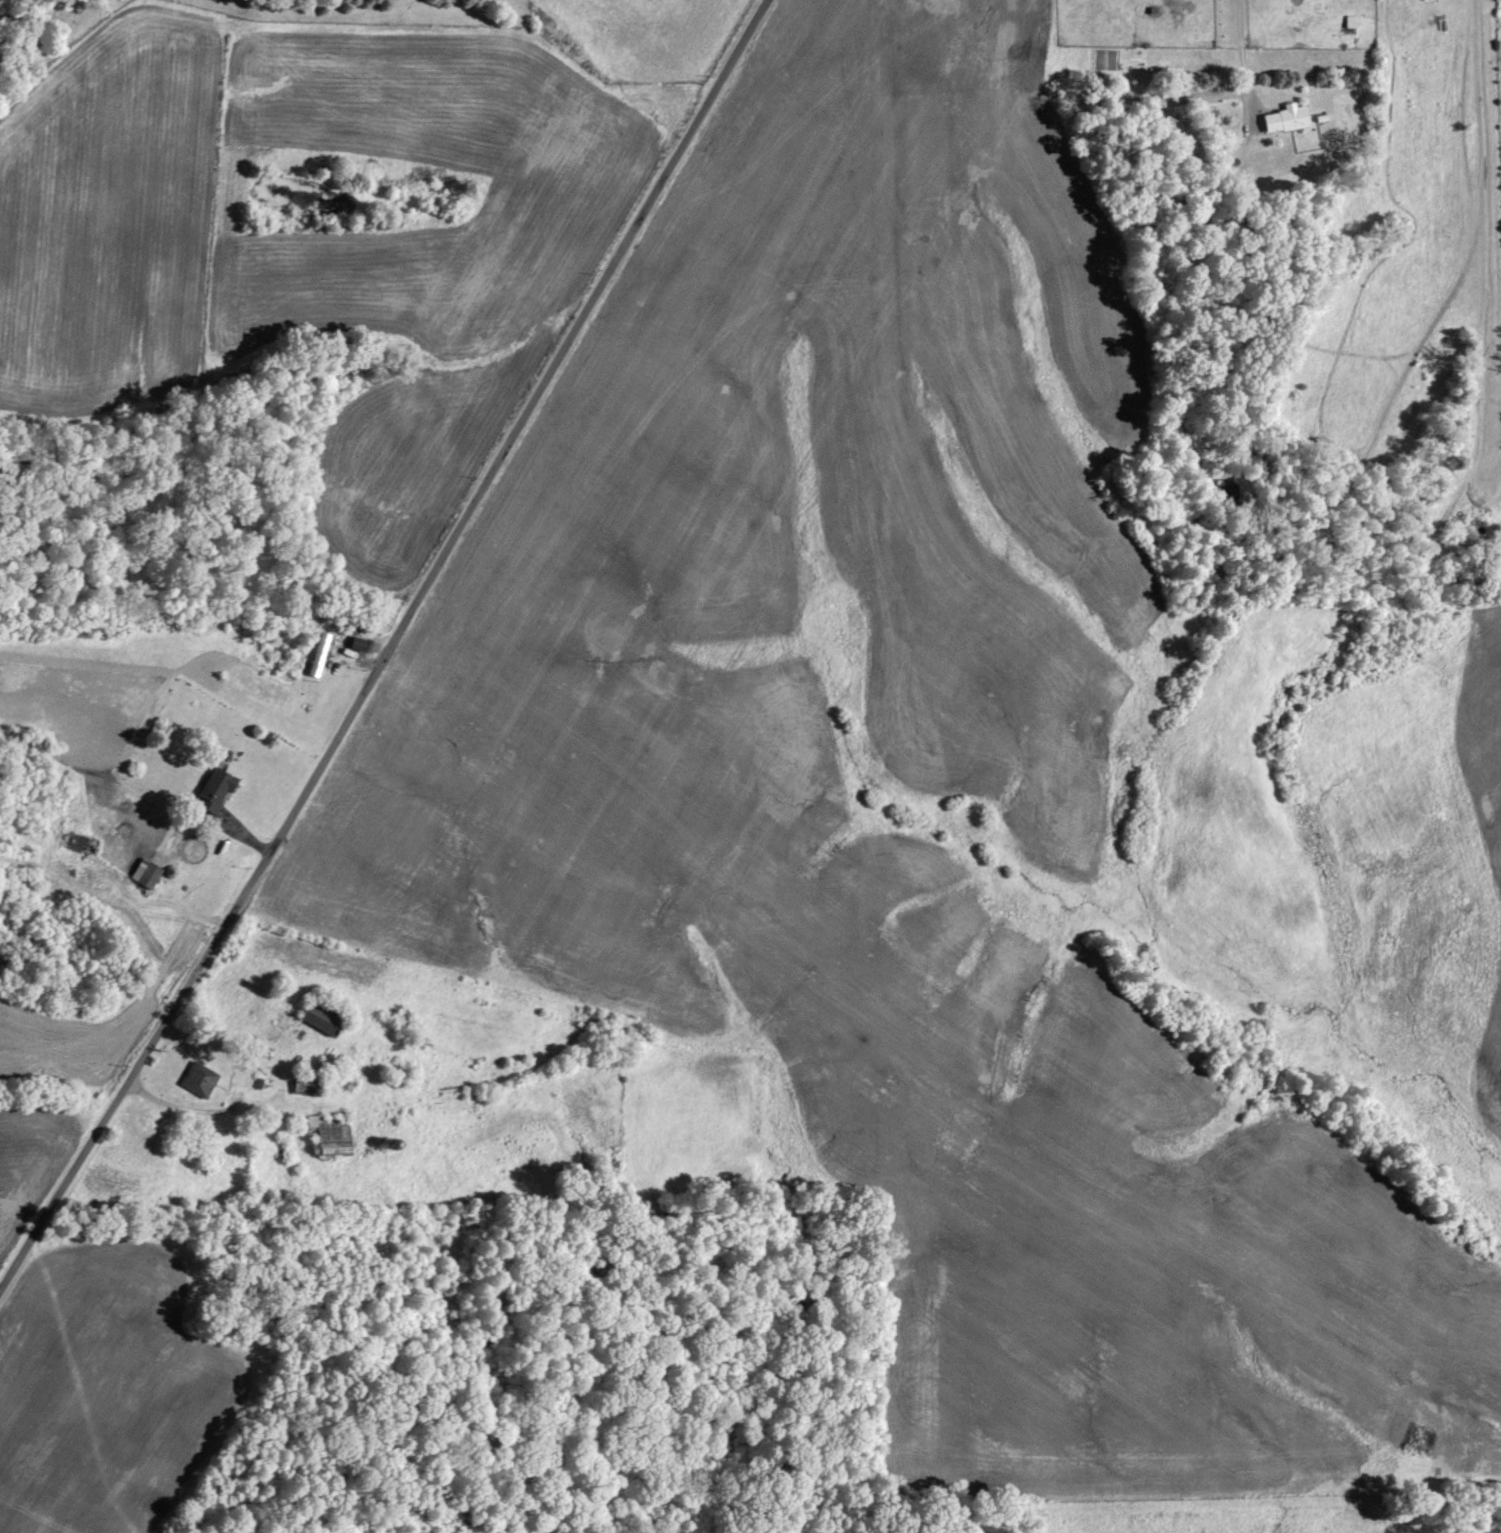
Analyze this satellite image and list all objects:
road: (887, 3)
building: (1354, 22)
road: (1237, 54)
building: (1289, 119)
building: (362, 644)
road: (388, 645)
building: (321, 654)
building: (222, 784)
building: (149, 873)
building: (202, 1080)
road: (182, 1107)
building: (336, 1137)

